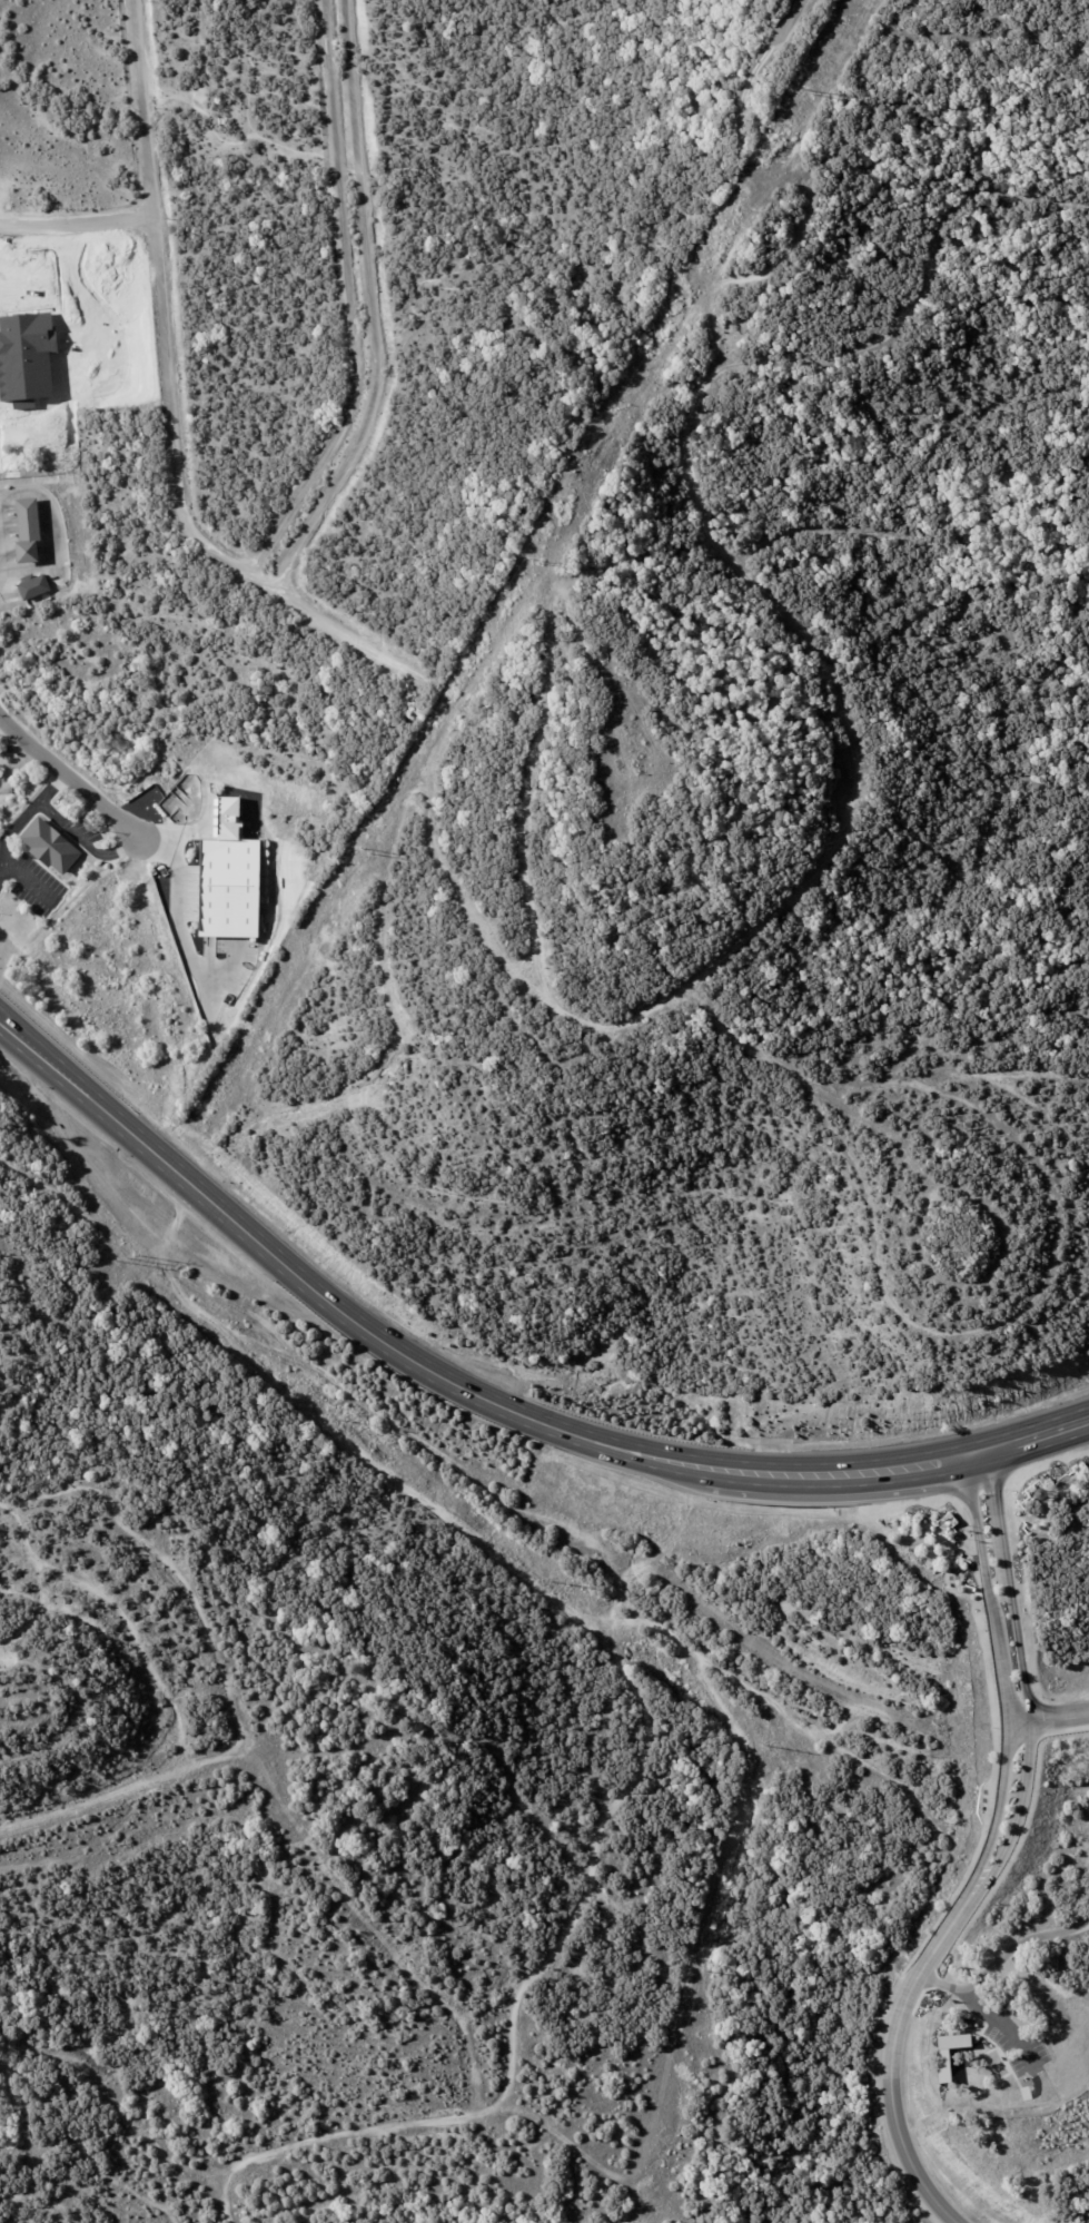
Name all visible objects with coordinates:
road: (786, 18)
power tower: (805, 90)
road: (76, 227)
road: (349, 298)
road: (373, 305)
road: (167, 408)
building: (29, 528)
power tower: (533, 560)
building: (69, 564)
building: (34, 587)
road: (1, 589)
road: (14, 762)
road: (70, 779)
road: (50, 787)
road: (69, 828)
road: (12, 829)
building: (58, 847)
power tower: (363, 848)
road: (122, 849)
road: (207, 985)
power tower: (127, 1256)
road: (484, 1405)
power tower: (337, 1419)
power tower: (548, 1580)
road: (1007, 1664)
road: (1030, 1666)
road: (1053, 1719)
power tower: (762, 1743)
road: (138, 1778)
road: (380, 1936)
road: (1000, 1960)
road: (1000, 2022)
road: (894, 2046)

